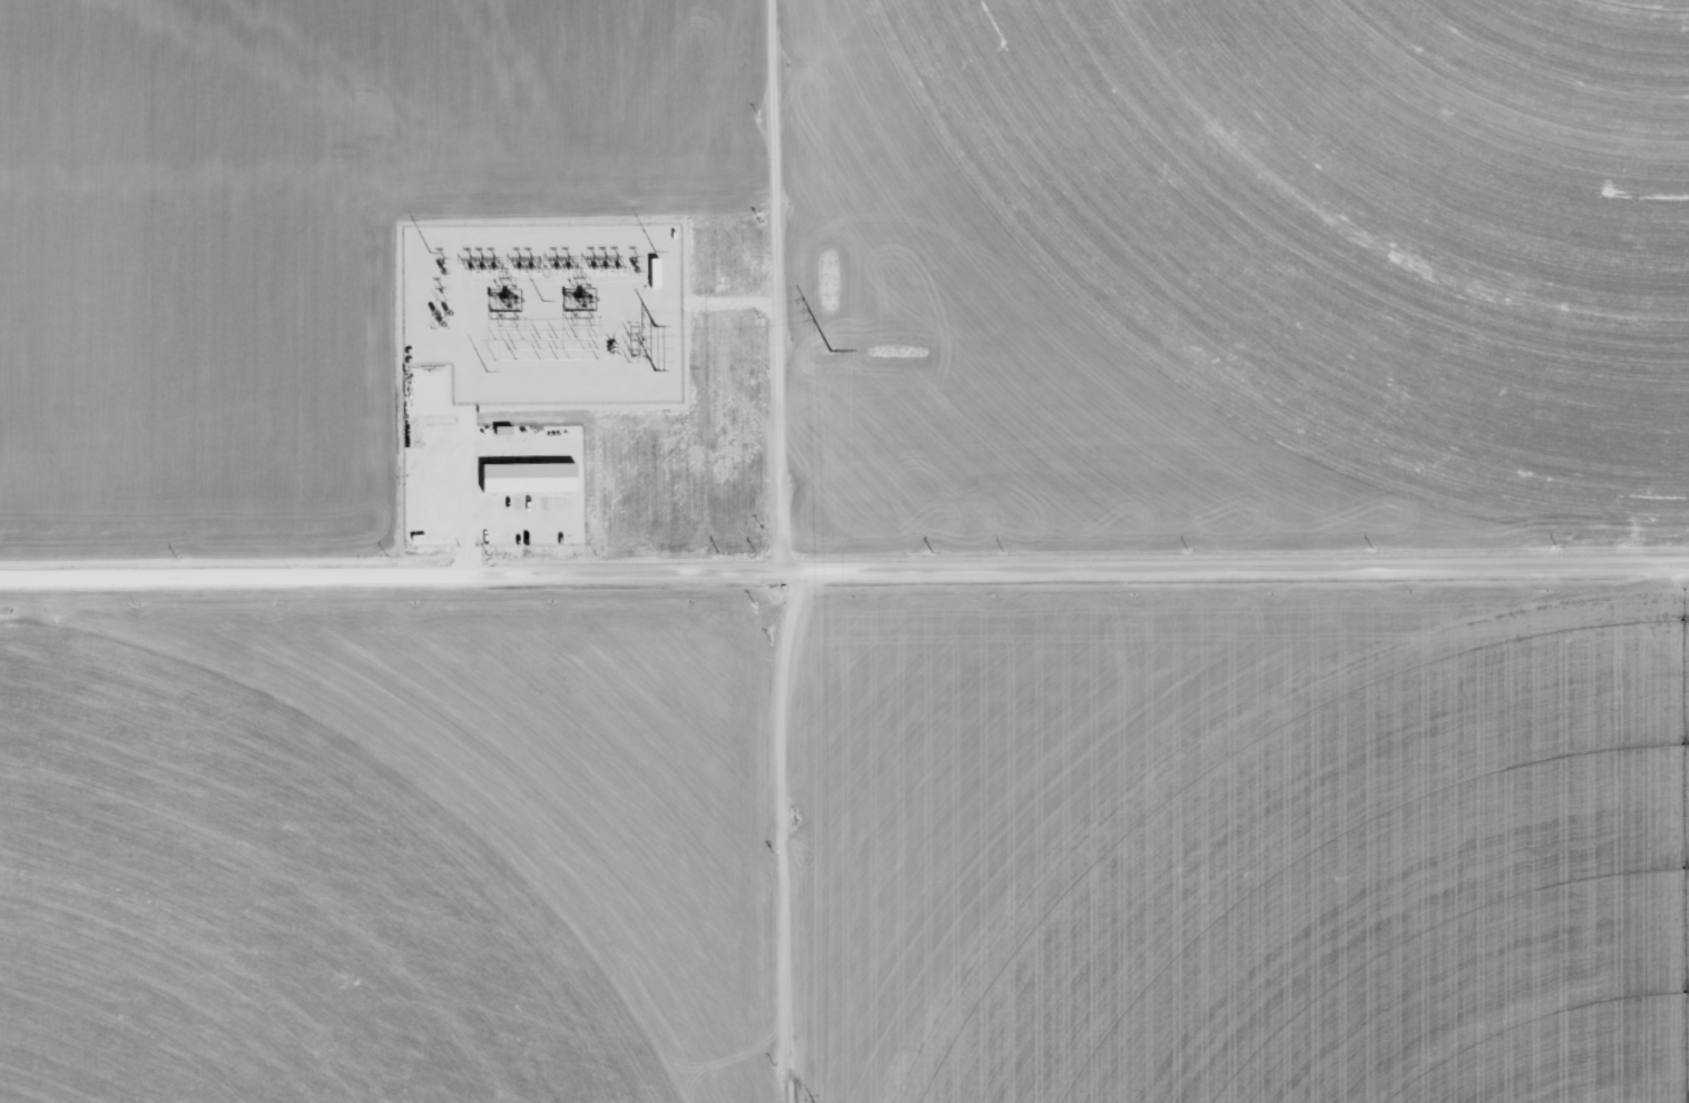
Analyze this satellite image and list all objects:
power substation: (546, 312)
power tower: (829, 351)
building: (533, 477)
road: (844, 568)

